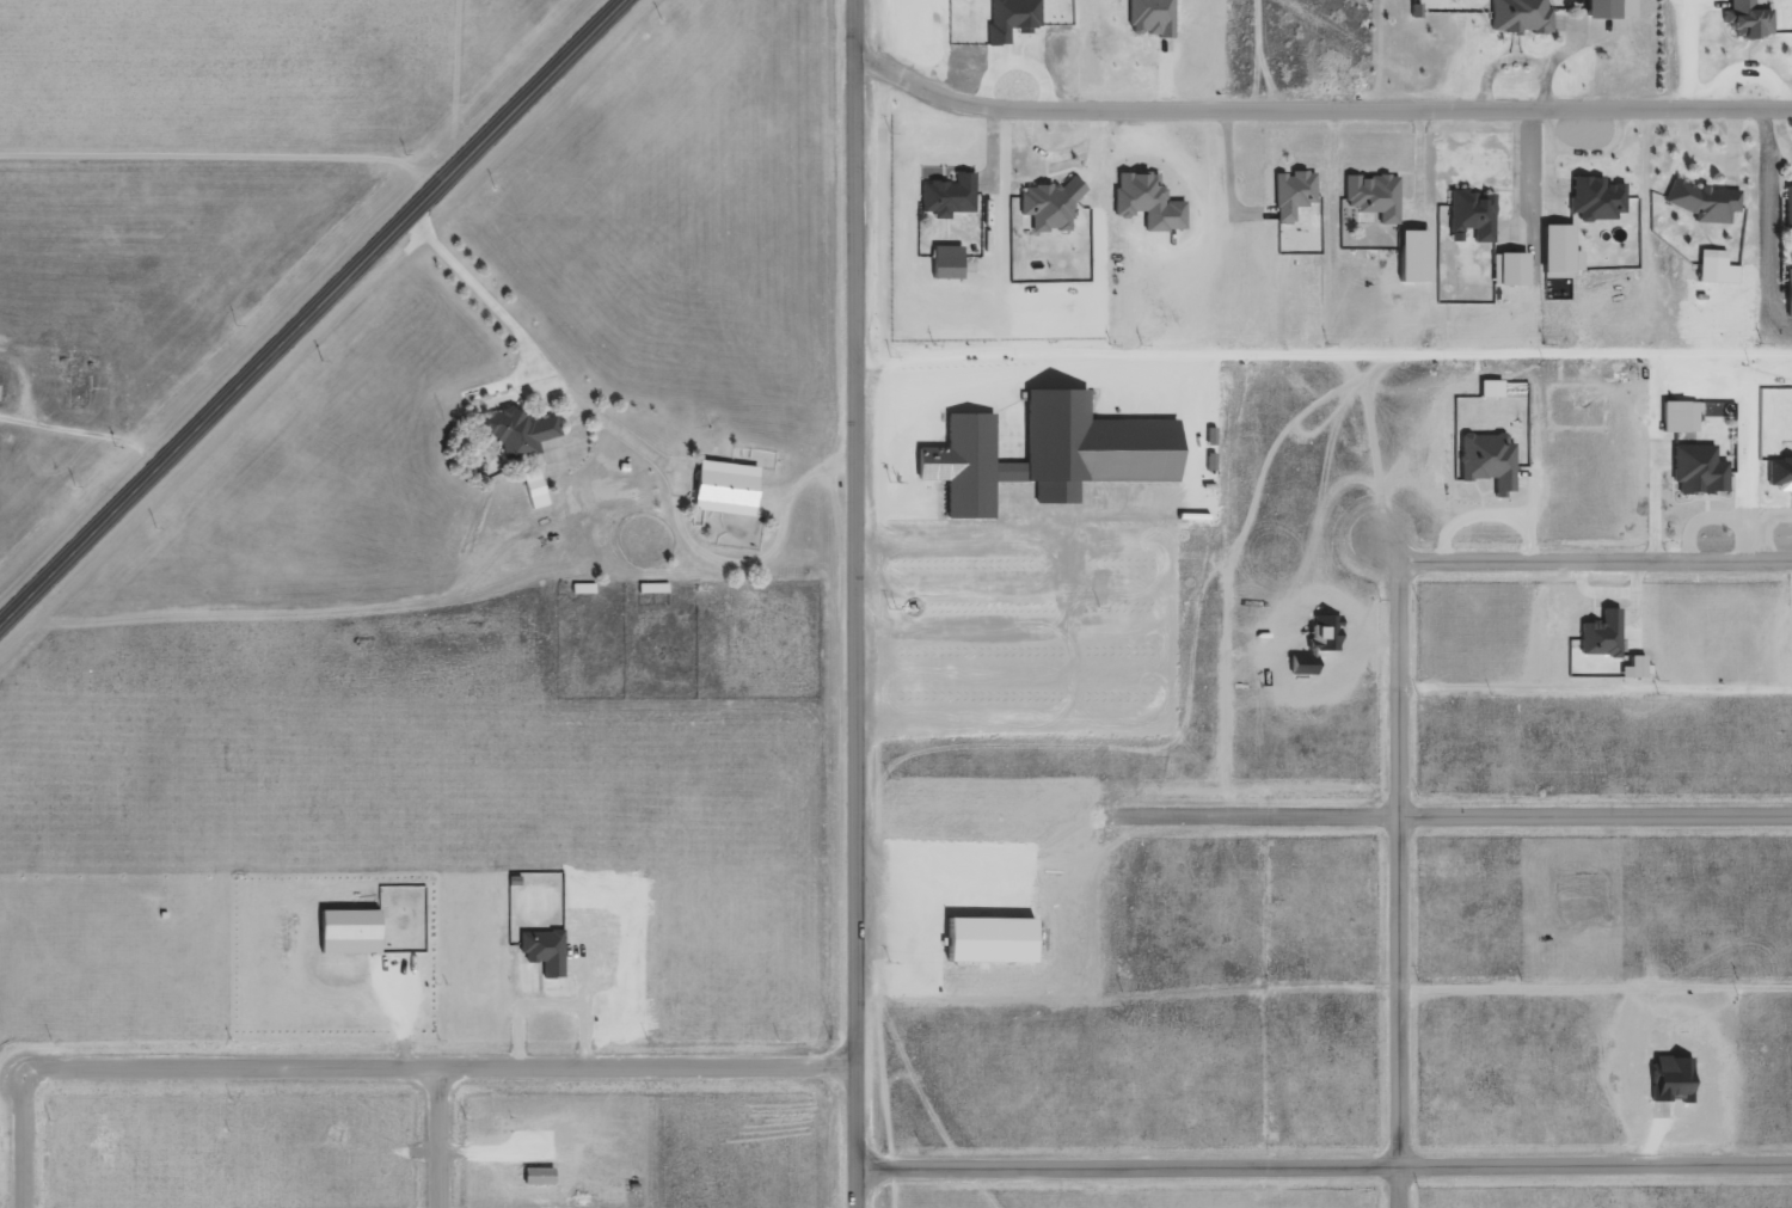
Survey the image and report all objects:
road: (1548, 2)
road: (1480, 5)
road: (1548, 10)
building: (1604, 10)
road: (1760, 13)
road: (1485, 14)
building: (1012, 16)
building: (1518, 17)
building: (1149, 18)
building: (1742, 20)
road: (1520, 30)
road: (1769, 37)
road: (1600, 42)
road: (1510, 44)
road: (1743, 55)
road: (1248, 56)
road: (1349, 56)
road: (1160, 75)
road: (1260, 80)
road: (1314, 112)
road: (1418, 112)
road: (1775, 112)
road: (996, 127)
road: (1766, 129)
road: (1736, 145)
road: (1097, 157)
road: (217, 161)
road: (934, 161)
road: (1521, 161)
road: (939, 165)
road: (1595, 168)
road: (1058, 173)
road: (1042, 174)
road: (1699, 174)
road: (1381, 176)
road: (940, 177)
road: (944, 179)
road: (1606, 179)
road: (1222, 185)
road: (1540, 189)
road: (1487, 194)
building: (1290, 196)
building: (1368, 197)
building: (945, 198)
building: (1594, 200)
building: (1699, 202)
building: (1143, 203)
building: (1049, 208)
building: (1786, 211)
road: (1193, 213)
building: (1468, 215)
road: (950, 219)
road: (1779, 220)
road: (1590, 221)
road: (1696, 222)
road: (941, 235)
road: (1701, 241)
road: (418, 243)
building: (1555, 249)
building: (945, 264)
building: (1508, 270)
building: (1713, 272)
building: (1786, 294)
road: (307, 308)
road: (552, 308)
road: (613, 320)
road: (1320, 350)
road: (612, 361)
road: (1042, 364)
road: (1044, 373)
building: (1485, 387)
road: (1168, 390)
road: (1079, 400)
road: (904, 413)
building: (1675, 416)
building: (515, 434)
road: (78, 437)
road: (908, 446)
building: (1047, 450)
road: (631, 452)
road: (1213, 454)
road: (572, 459)
building: (1492, 464)
building: (1778, 472)
road: (1078, 479)
road: (941, 485)
building: (532, 488)
building: (724, 489)
road: (1171, 502)
road: (1072, 507)
road: (1093, 541)
road: (1589, 552)
road: (754, 563)
road: (867, 580)
road: (1110, 585)
road: (851, 603)
road: (1133, 606)
road: (380, 613)
parking lot: (1017, 619)
road: (1032, 623)
road: (965, 630)
road: (1172, 632)
building: (1598, 634)
road: (1150, 649)
building: (1630, 667)
road: (1000, 670)
road: (1590, 692)
road: (1000, 713)
road: (1130, 740)
road: (980, 741)
road: (956, 749)
road: (1591, 809)
road: (1250, 814)
road: (974, 876)
road: (1391, 879)
road: (938, 888)
road: (989, 916)
road: (582, 920)
parking lot: (923, 926)
road: (867, 928)
building: (350, 932)
road: (914, 942)
road: (944, 942)
building: (989, 942)
road: (1036, 942)
building: (540, 953)
road: (880, 967)
road: (918, 967)
road: (989, 967)
road: (1592, 981)
road: (364, 987)
road: (1123, 993)
road: (920, 1004)
road: (398, 1010)
road: (437, 1061)
road: (890, 1071)
road: (878, 1083)
road: (910, 1084)
road: (20, 1135)
road: (436, 1135)
road: (1322, 1166)
building: (541, 1175)

